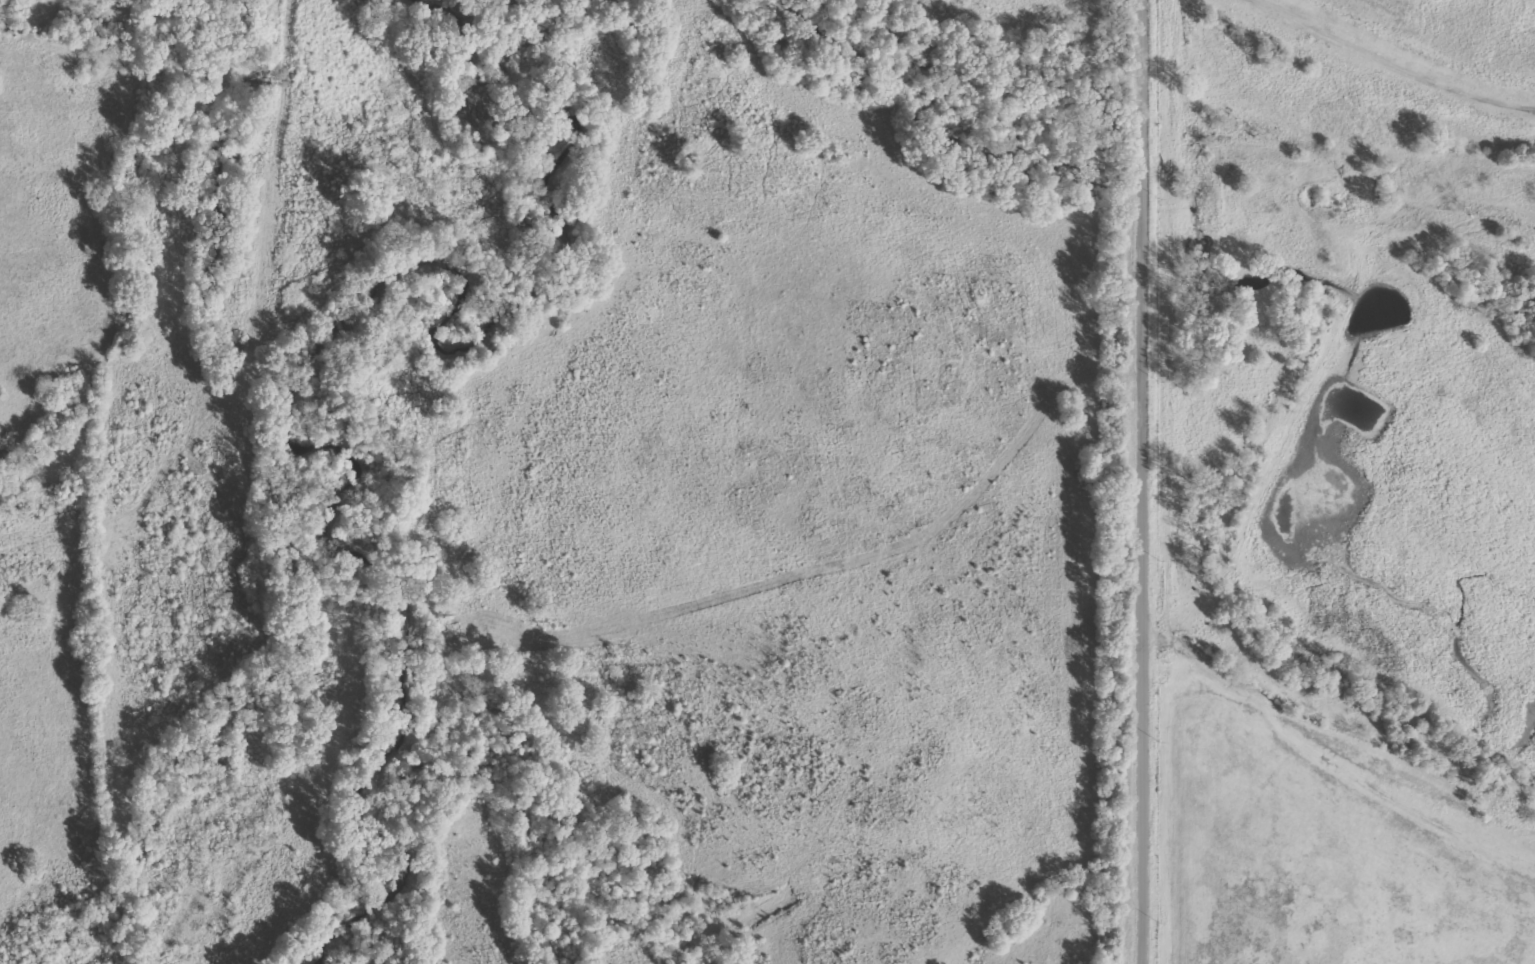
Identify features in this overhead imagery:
road: (1393, 45)
road: (1137, 481)
road: (1339, 770)

